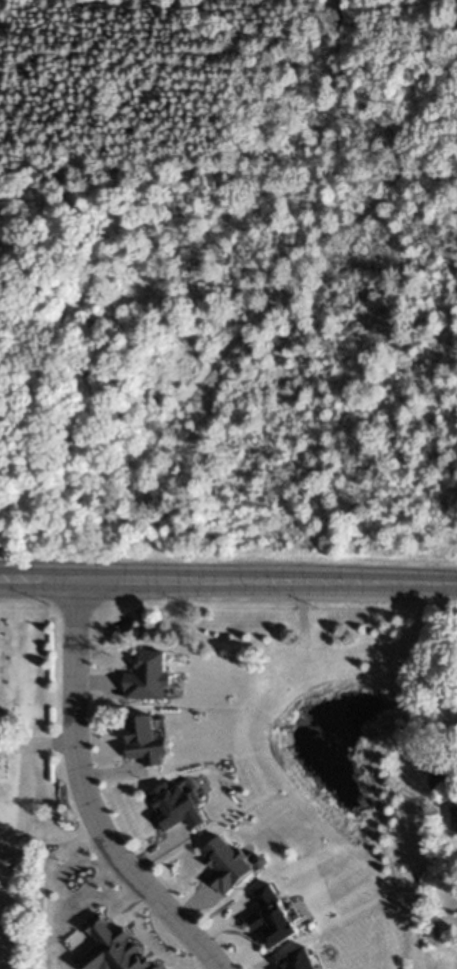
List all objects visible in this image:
road: (167, 59)
park: (228, 282)
road: (268, 300)
road: (9, 386)
road: (452, 398)
road: (19, 416)
road: (228, 582)
building: (148, 677)
park: (30, 690)
building: (145, 741)
road: (36, 742)
building: (439, 767)
road: (86, 796)
road: (21, 804)
building: (176, 806)
building: (453, 819)
building: (226, 865)
building: (272, 918)
building: (112, 948)
building: (300, 960)

